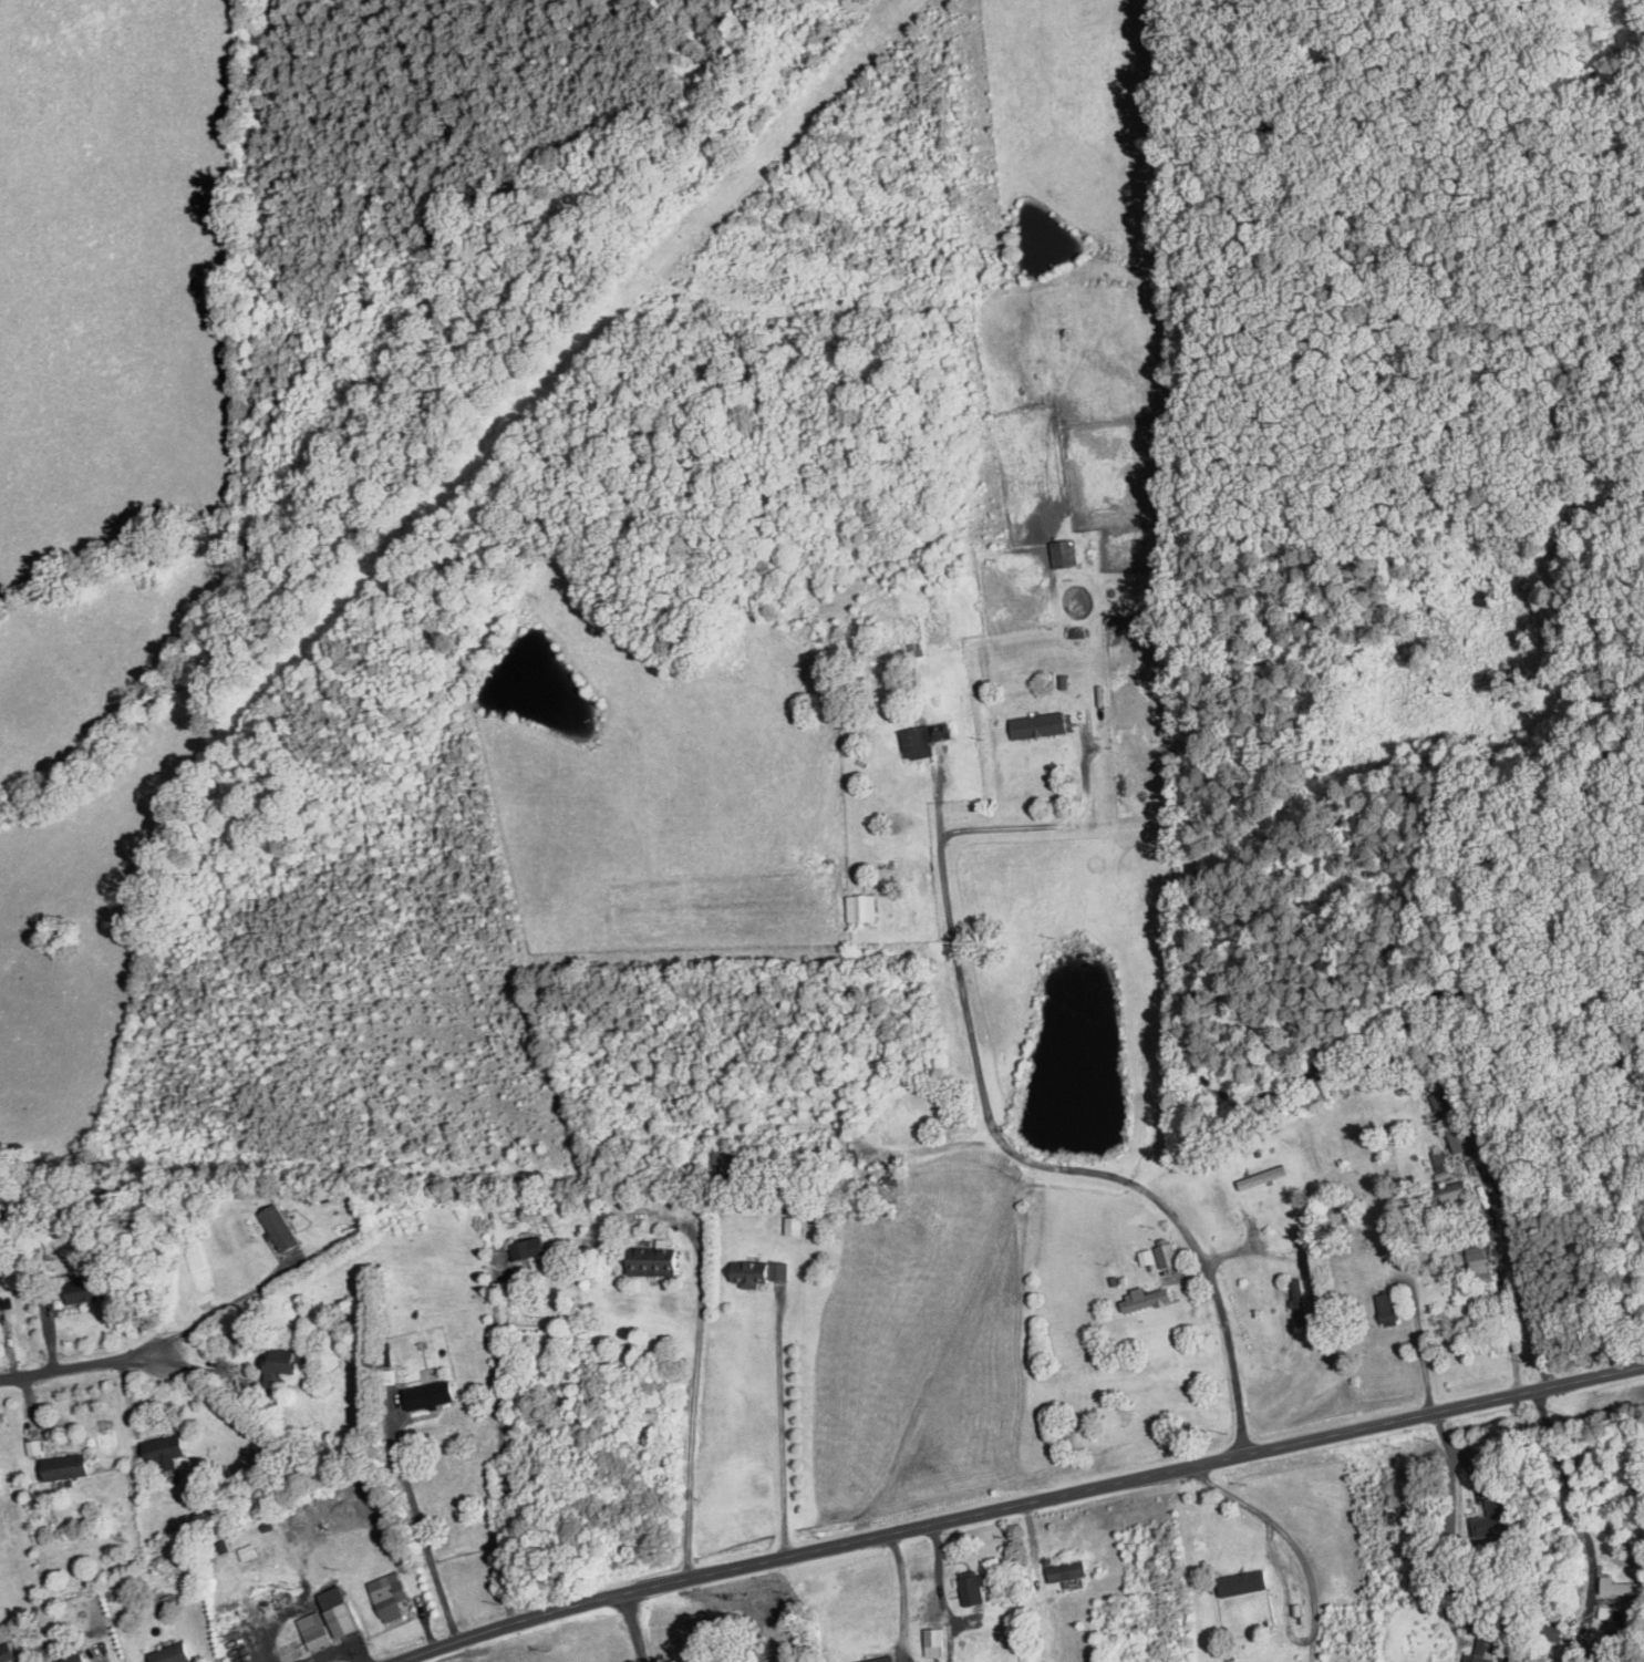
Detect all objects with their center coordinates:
road: (1322, 72)
building: (1064, 551)
building: (1038, 724)
building: (924, 739)
road: (1056, 825)
building: (861, 907)
road: (1207, 1018)
road: (1573, 1024)
building: (1444, 1101)
building: (1460, 1137)
road: (1062, 1168)
building: (1455, 1191)
building: (302, 1197)
building: (794, 1225)
building: (280, 1226)
building: (530, 1247)
building: (1167, 1253)
building: (1146, 1256)
building: (1478, 1258)
building: (656, 1259)
building: (779, 1269)
building: (751, 1272)
building: (85, 1289)
building: (1146, 1298)
road: (1503, 1299)
building: (1302, 1304)
road: (220, 1307)
building: (1388, 1307)
building: (296, 1318)
road: (1421, 1346)
building: (285, 1361)
road: (76, 1369)
building: (428, 1394)
road: (694, 1394)
road: (782, 1422)
road: (503, 1443)
building: (34, 1446)
building: (167, 1449)
building: (68, 1465)
building: (1, 1479)
road: (1021, 1505)
road: (1578, 1505)
building: (201, 1516)
building: (1498, 1517)
road: (420, 1522)
building: (269, 1526)
road: (1452, 1526)
building: (225, 1546)
building: (249, 1551)
building: (1067, 1569)
road: (937, 1580)
building: (1243, 1581)
building: (1617, 1586)
building: (973, 1587)
road: (899, 1588)
building: (392, 1593)
road: (1307, 1596)
building: (342, 1610)
road: (633, 1628)
building: (317, 1629)
building: (1553, 1632)
building: (934, 1641)
building: (6, 1652)
building: (173, 1653)
road: (328, 1653)
road: (106, 1656)
building: (75, 1658)
building: (880, 1659)

